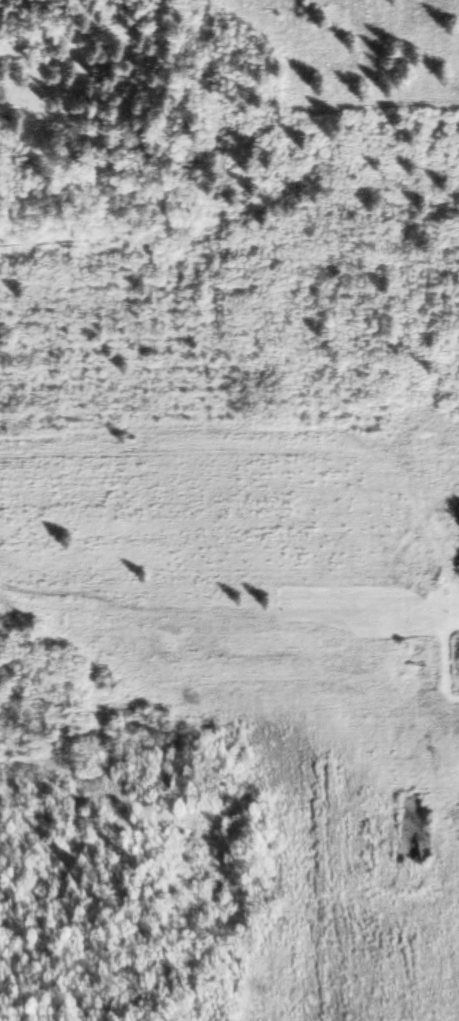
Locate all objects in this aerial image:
building: (433, 663)

